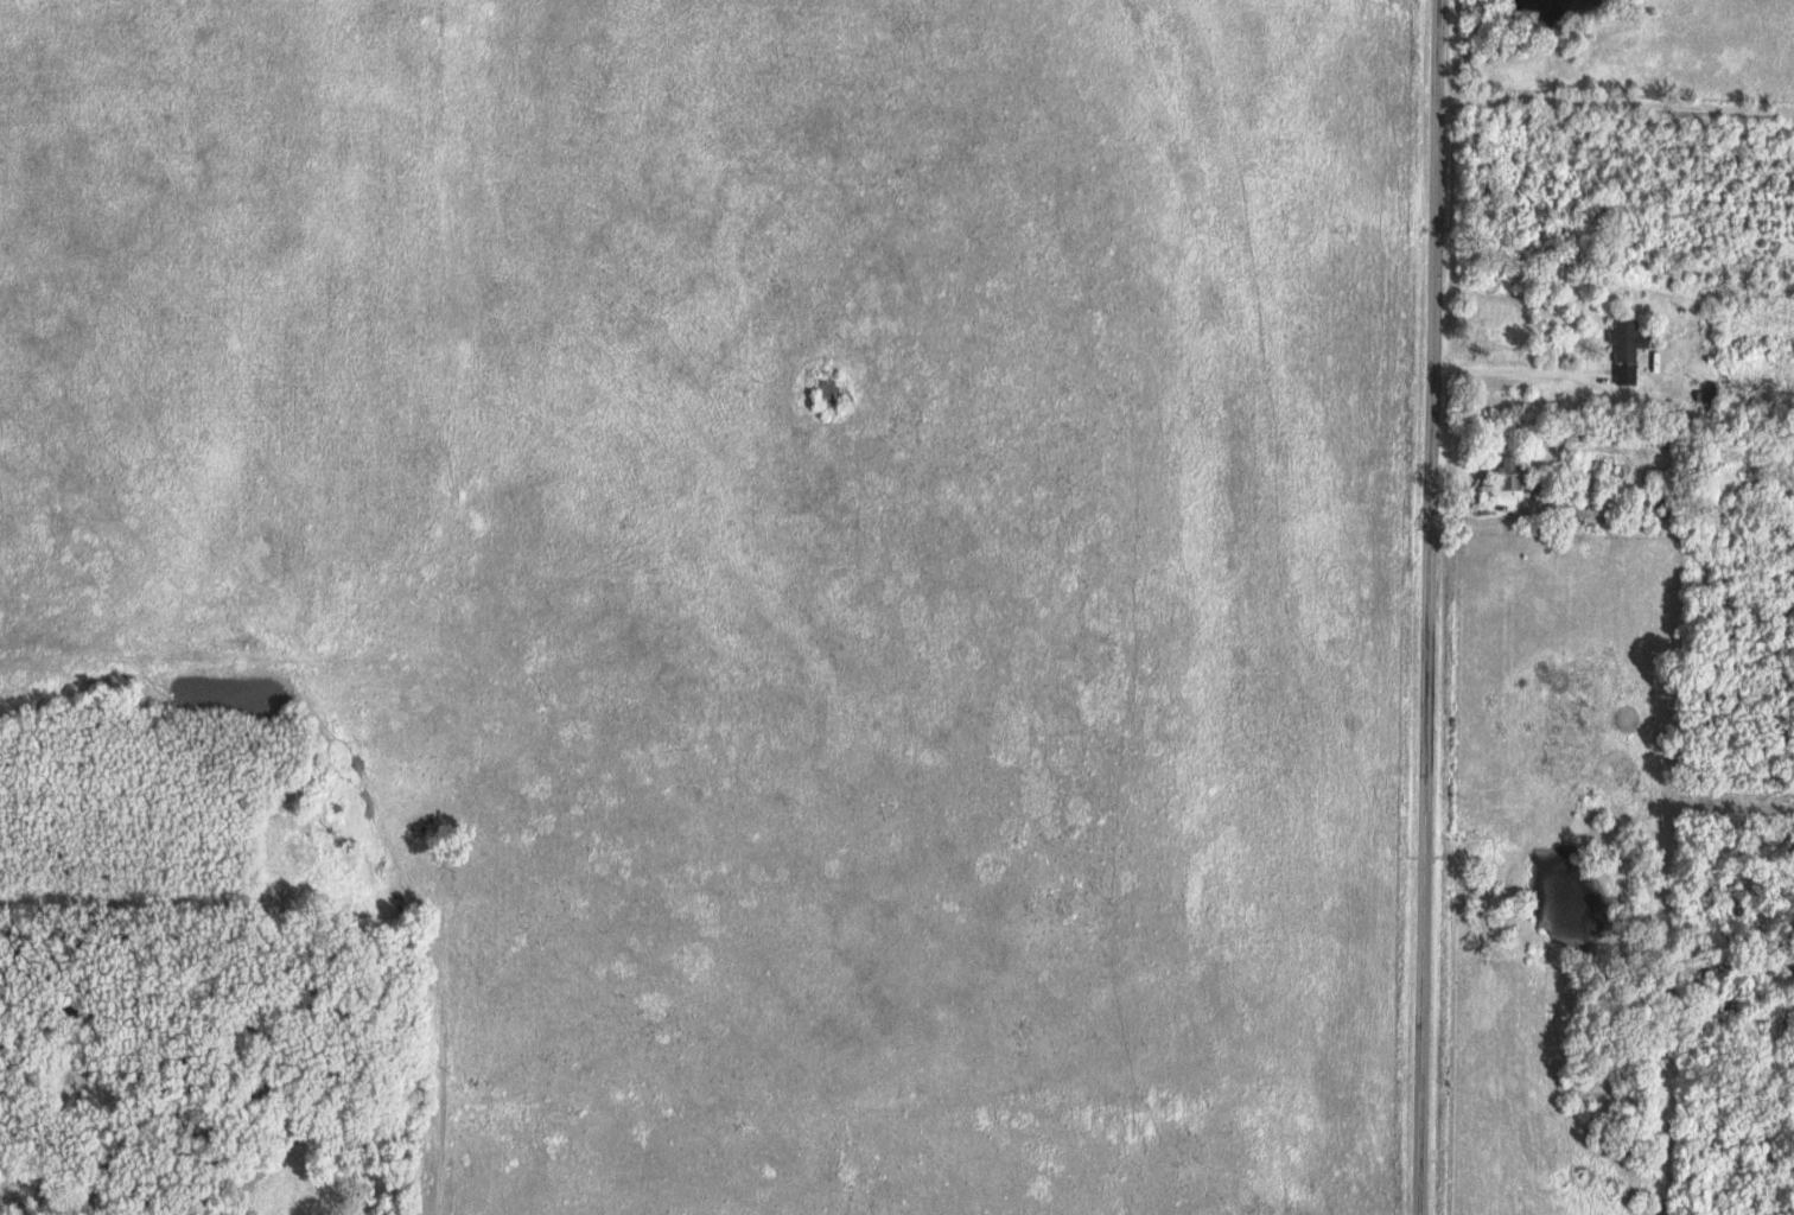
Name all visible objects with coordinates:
road: (1614, 102)
building: (1629, 350)
road: (1519, 370)
building: (1513, 476)
road: (1426, 607)

